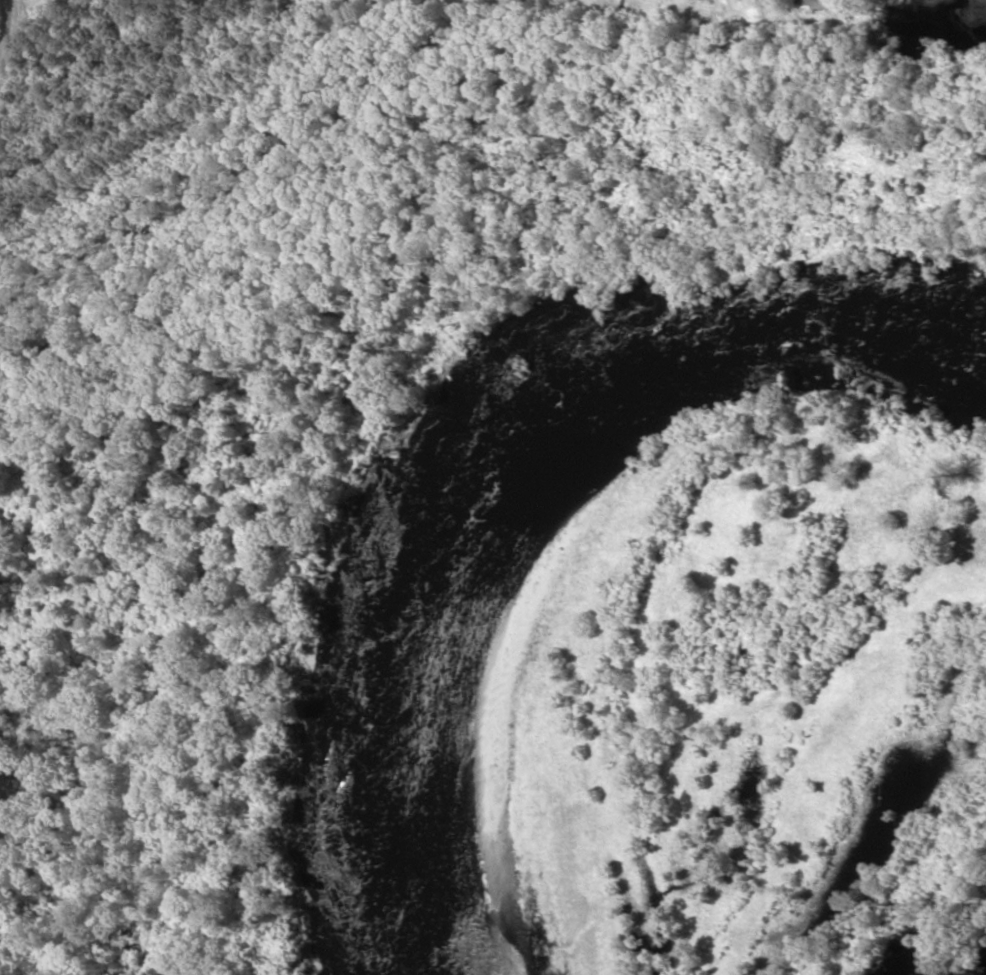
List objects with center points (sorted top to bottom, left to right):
river: (508, 476)

